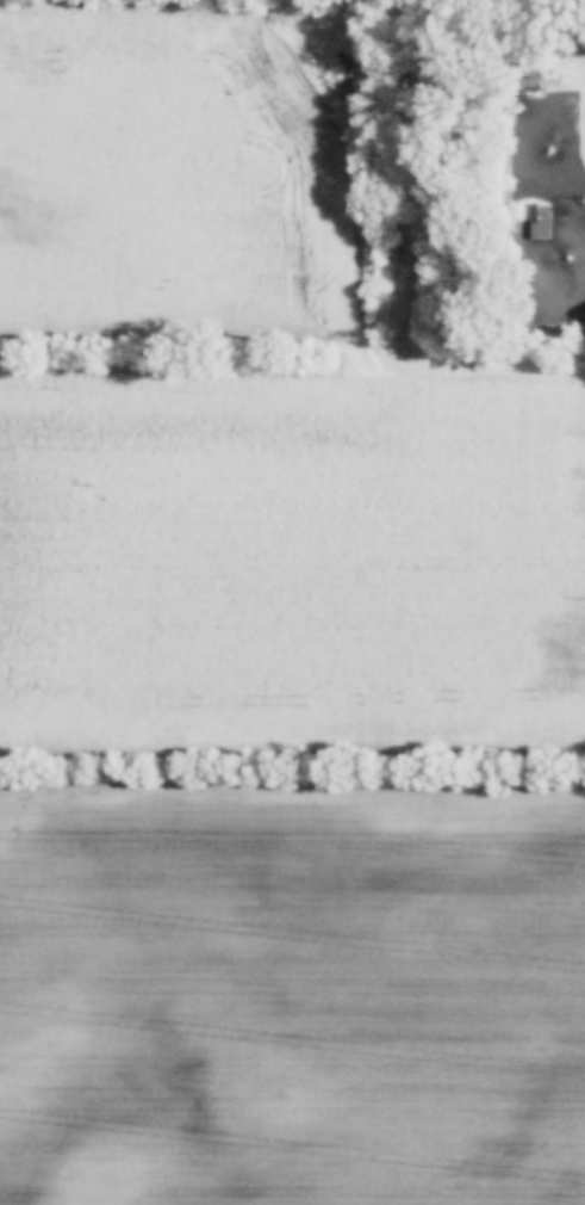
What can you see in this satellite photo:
building: (550, 222)

